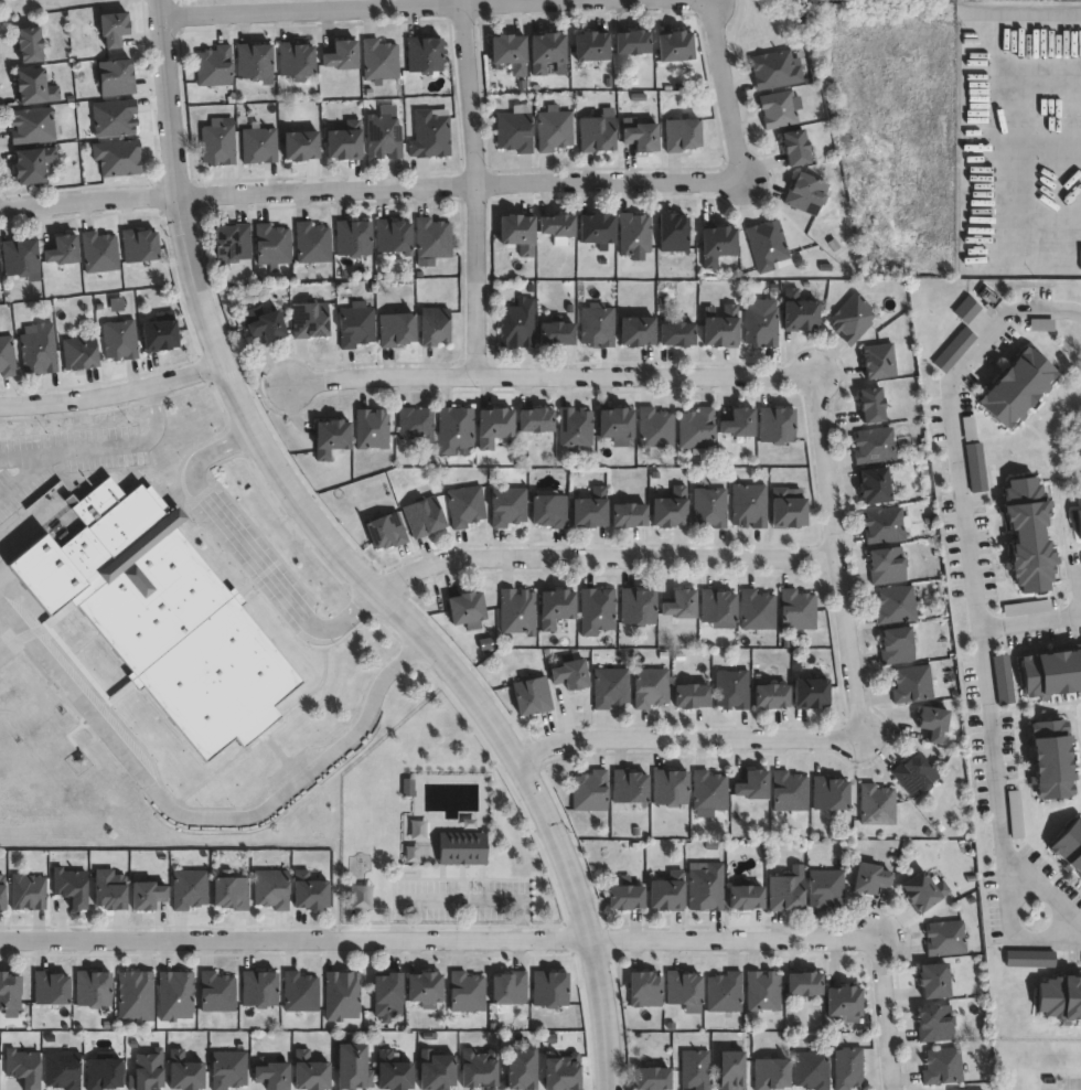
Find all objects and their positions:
road: (0, 0)
road: (167, 0)
park: (869, 0)
park: (78, 4)
road: (404, 11)
park: (766, 24)
road: (730, 26)
building: (113, 28)
building: (632, 41)
building: (29, 44)
building: (676, 45)
building: (591, 49)
building: (510, 51)
building: (548, 52)
building: (424, 54)
building: (341, 55)
building: (296, 58)
building: (379, 60)
building: (255, 62)
building: (214, 66)
building: (775, 70)
building: (115, 77)
building: (33, 86)
road: (725, 90)
building: (780, 110)
building: (114, 117)
building: (32, 125)
building: (554, 130)
building: (515, 131)
building: (599, 131)
building: (429, 133)
building: (683, 133)
building: (383, 136)
building: (643, 137)
road: (1014, 138)
building: (344, 141)
building: (218, 145)
building: (259, 145)
building: (301, 145)
building: (796, 147)
building: (118, 158)
building: (32, 164)
road: (460, 185)
road: (474, 188)
building: (806, 194)
road: (89, 203)
building: (558, 227)
building: (597, 229)
building: (518, 232)
building: (634, 233)
building: (673, 233)
building: (393, 235)
building: (352, 237)
building: (432, 237)
building: (232, 243)
building: (312, 244)
building: (718, 244)
building: (272, 245)
building: (138, 246)
building: (768, 246)
building: (61, 249)
building: (99, 253)
building: (20, 257)
building: (801, 311)
building: (853, 318)
building: (310, 320)
road: (998, 322)
building: (517, 324)
building: (761, 324)
building: (598, 325)
building: (267, 327)
building: (356, 327)
building: (435, 327)
building: (723, 328)
building: (396, 329)
building: (638, 331)
building: (557, 333)
building: (678, 334)
building: (159, 335)
building: (119, 339)
building: (38, 350)
building: (79, 353)
building: (7, 356)
building: (880, 361)
road: (379, 378)
road: (644, 378)
building: (1014, 386)
road: (111, 393)
building: (874, 405)
building: (535, 420)
building: (416, 424)
building: (739, 424)
building: (777, 425)
building: (494, 426)
building: (617, 426)
building: (575, 428)
building: (372, 429)
building: (697, 429)
building: (456, 430)
building: (655, 430)
building: (331, 438)
road: (100, 447)
building: (875, 447)
building: (876, 487)
building: (750, 505)
building: (465, 506)
building: (507, 507)
building: (709, 509)
building: (789, 509)
building: (590, 510)
building: (671, 510)
road: (961, 510)
building: (549, 511)
building: (629, 516)
building: (425, 517)
building: (1078, 519)
building: (887, 526)
building: (1023, 528)
building: (386, 532)
road: (249, 549)
road: (601, 557)
road: (834, 558)
road: (347, 560)
building: (888, 566)
building: (681, 606)
building: (717, 606)
building: (897, 606)
building: (638, 608)
building: (556, 609)
building: (468, 610)
building: (758, 610)
building: (798, 610)
building: (597, 611)
building: (517, 612)
building: (160, 616)
road: (1028, 620)
building: (898, 646)
building: (1050, 669)
building: (571, 676)
building: (913, 685)
building: (611, 688)
building: (652, 688)
building: (732, 690)
building: (812, 695)
building: (532, 697)
building: (692, 697)
building: (772, 697)
building: (935, 725)
road: (688, 739)
building: (1047, 756)
road: (991, 770)
building: (916, 777)
building: (754, 783)
building: (629, 788)
building: (670, 789)
building: (709, 790)
building: (790, 790)
building: (832, 791)
building: (590, 792)
building: (878, 804)
road: (202, 816)
building: (1069, 844)
building: (463, 847)
building: (871, 877)
road: (1040, 883)
building: (71, 886)
building: (707, 887)
building: (109, 888)
building: (190, 888)
building: (271, 888)
building: (826, 888)
building: (924, 889)
building: (1, 890)
building: (309, 890)
building: (28, 891)
building: (231, 891)
building: (667, 891)
building: (786, 893)
building: (147, 894)
building: (625, 896)
building: (747, 896)
road: (461, 901)
building: (946, 938)
road: (1037, 939)
road: (293, 940)
road: (734, 943)
building: (1031, 958)
building: (935, 979)
building: (805, 983)
building: (50, 987)
building: (92, 987)
building: (259, 987)
building: (425, 987)
building: (510, 987)
building: (549, 987)
building: (683, 987)
building: (645, 989)
building: (763, 991)
building: (216, 992)
building: (300, 992)
building: (467, 992)
building: (725, 992)
building: (9, 994)
building: (136, 995)
building: (174, 995)
building: (342, 995)
building: (387, 995)
building: (1059, 996)
building: (846, 1003)
road: (886, 1015)
building: (936, 1023)
building: (944, 1066)
building: (22, 1067)
building: (355, 1067)
building: (481, 1068)
building: (522, 1068)
building: (848, 1068)
building: (62, 1069)
building: (228, 1069)
building: (696, 1069)
building: (812, 1069)
building: (146, 1070)
building: (734, 1070)
building: (183, 1071)
building: (310, 1071)
building: (437, 1071)
building: (565, 1071)
building: (396, 1072)
building: (771, 1072)
building: (103, 1073)
building: (272, 1076)
building: (653, 1078)
building: (962, 1089)

